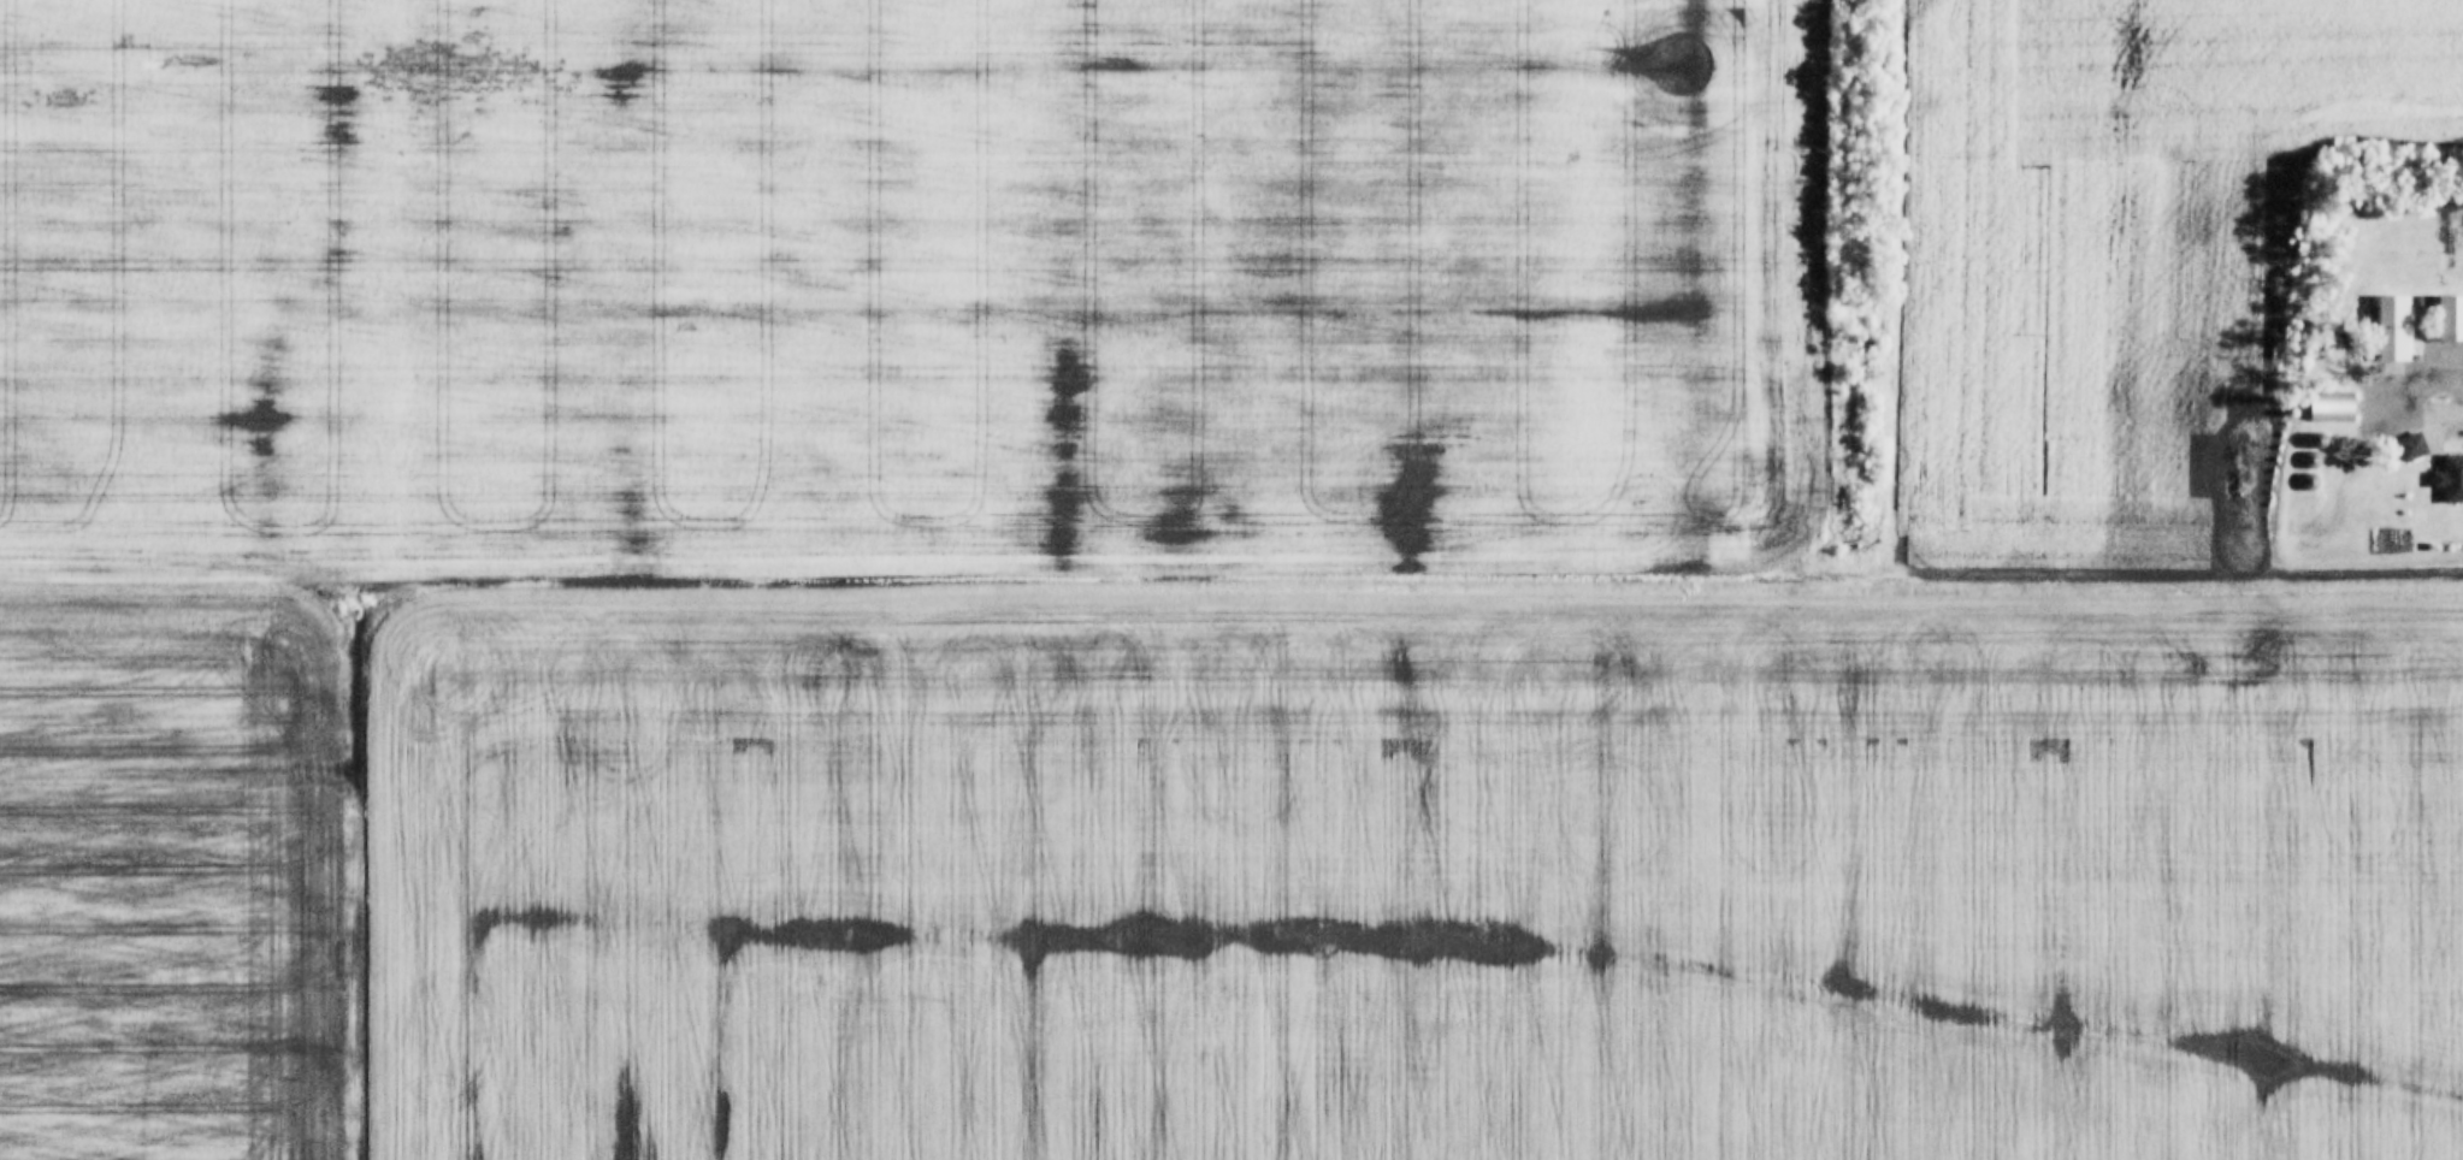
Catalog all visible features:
building: (2446, 314)
building: (2388, 325)
road: (2402, 397)
building: (2337, 403)

